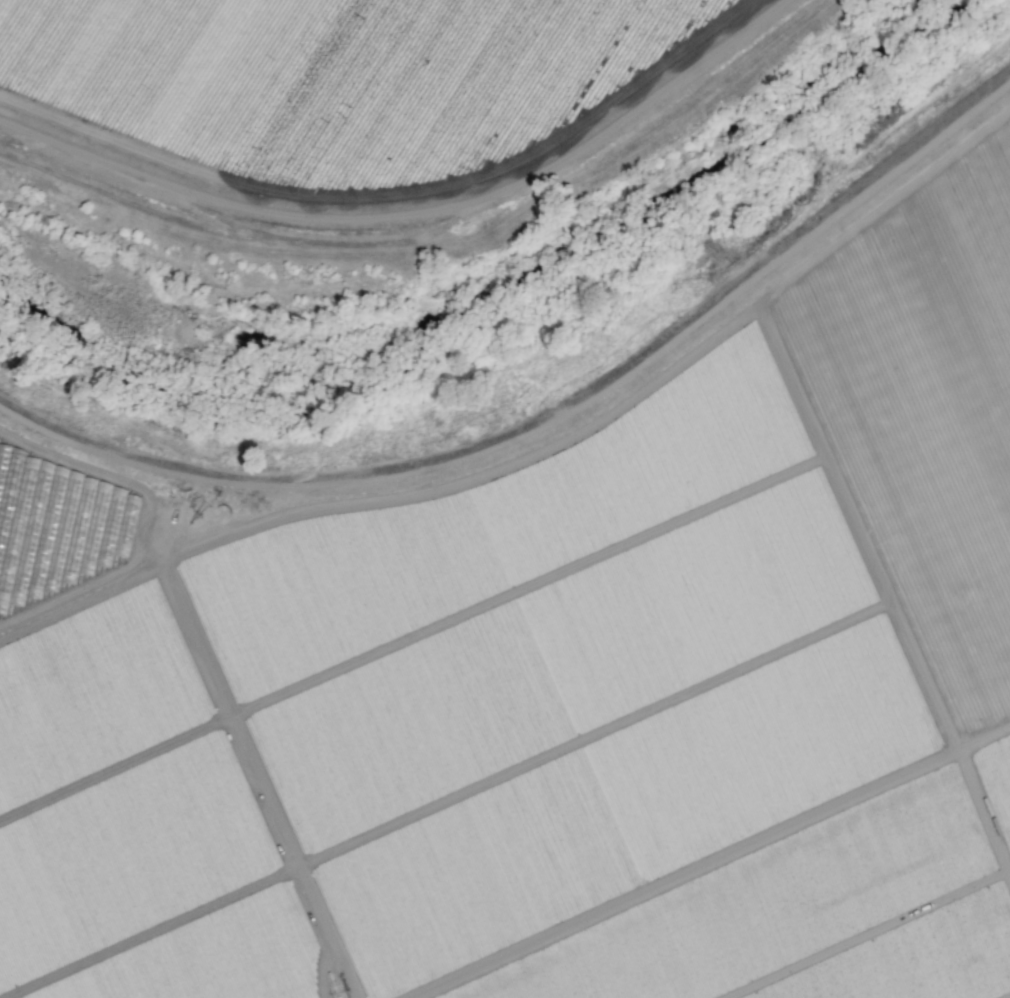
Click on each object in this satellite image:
river: (529, 346)
building: (56, 522)
crop: (103, 566)
crop: (620, 740)

